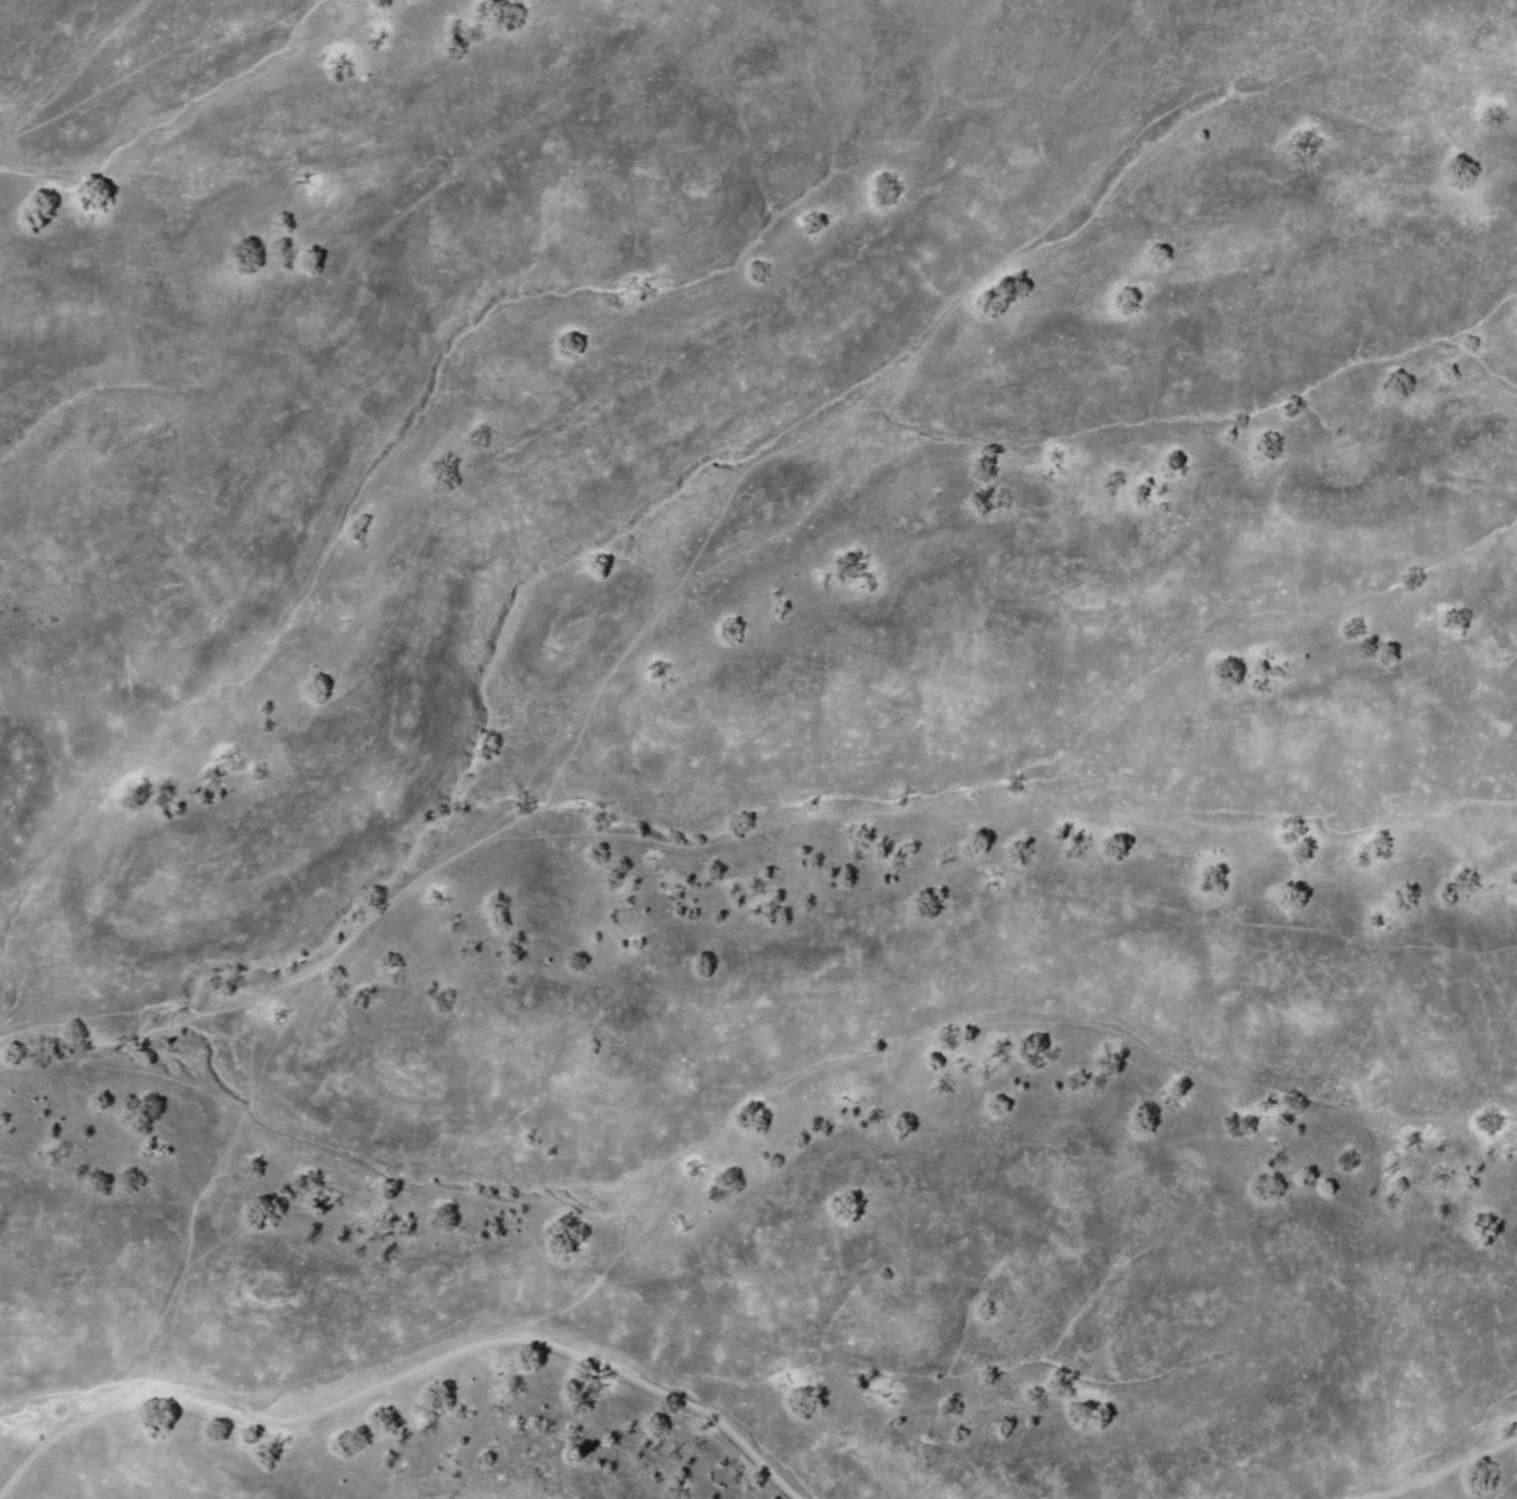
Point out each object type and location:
road: (406, 1376)
road: (1446, 1467)

